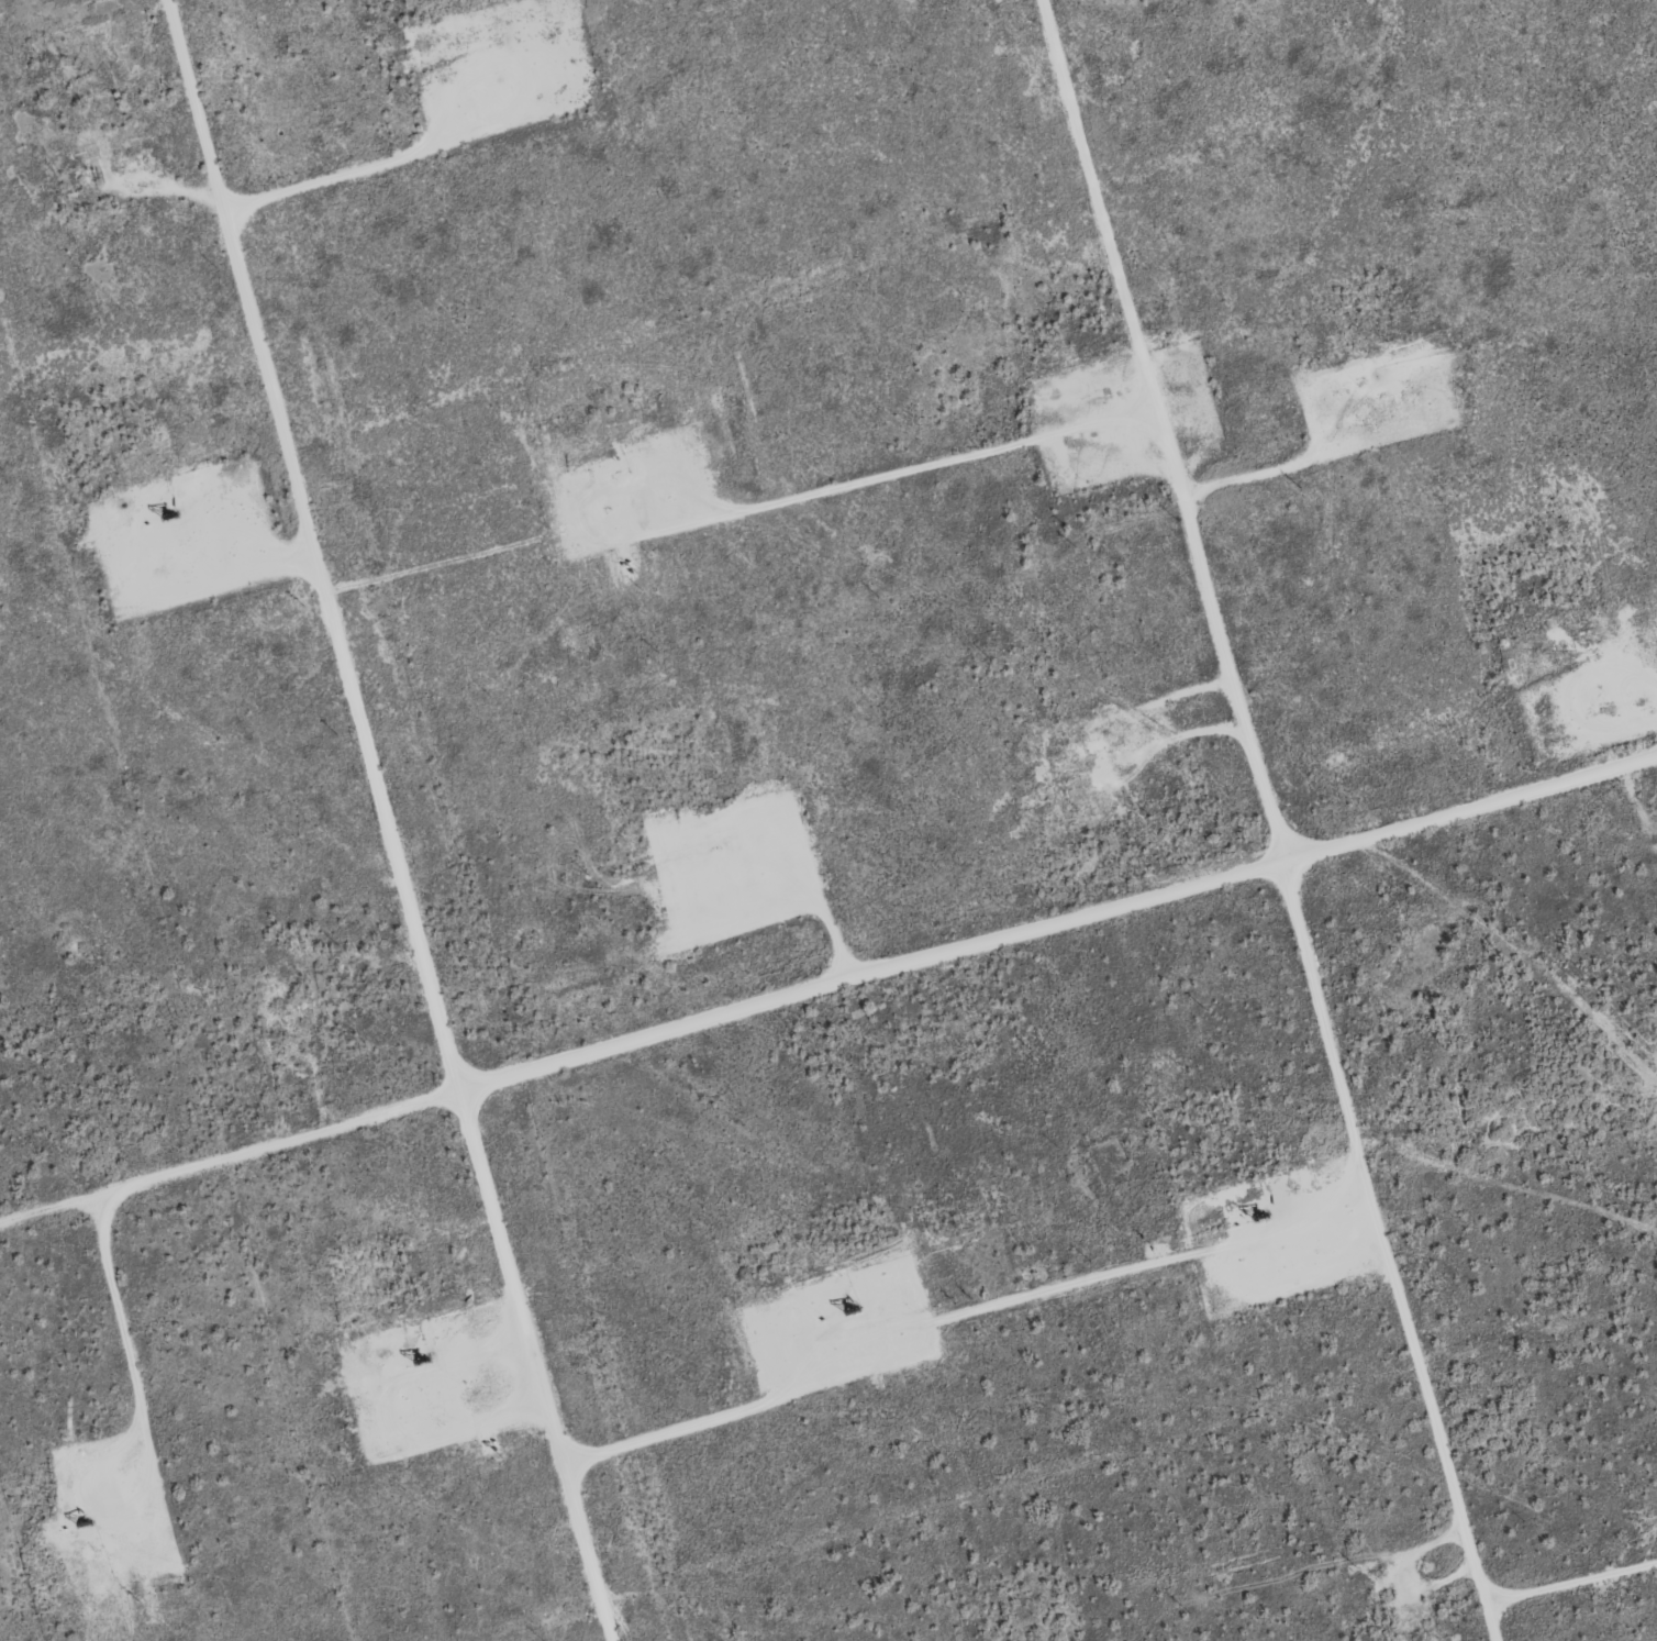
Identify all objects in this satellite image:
road: (1274, 819)
road: (388, 820)
road: (827, 983)

